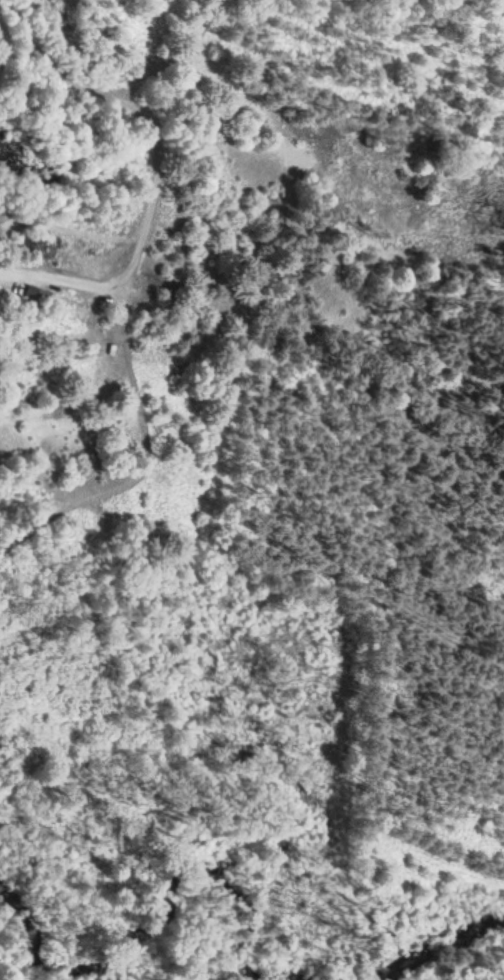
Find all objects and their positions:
road: (136, 114)
building: (34, 297)
park: (100, 939)

